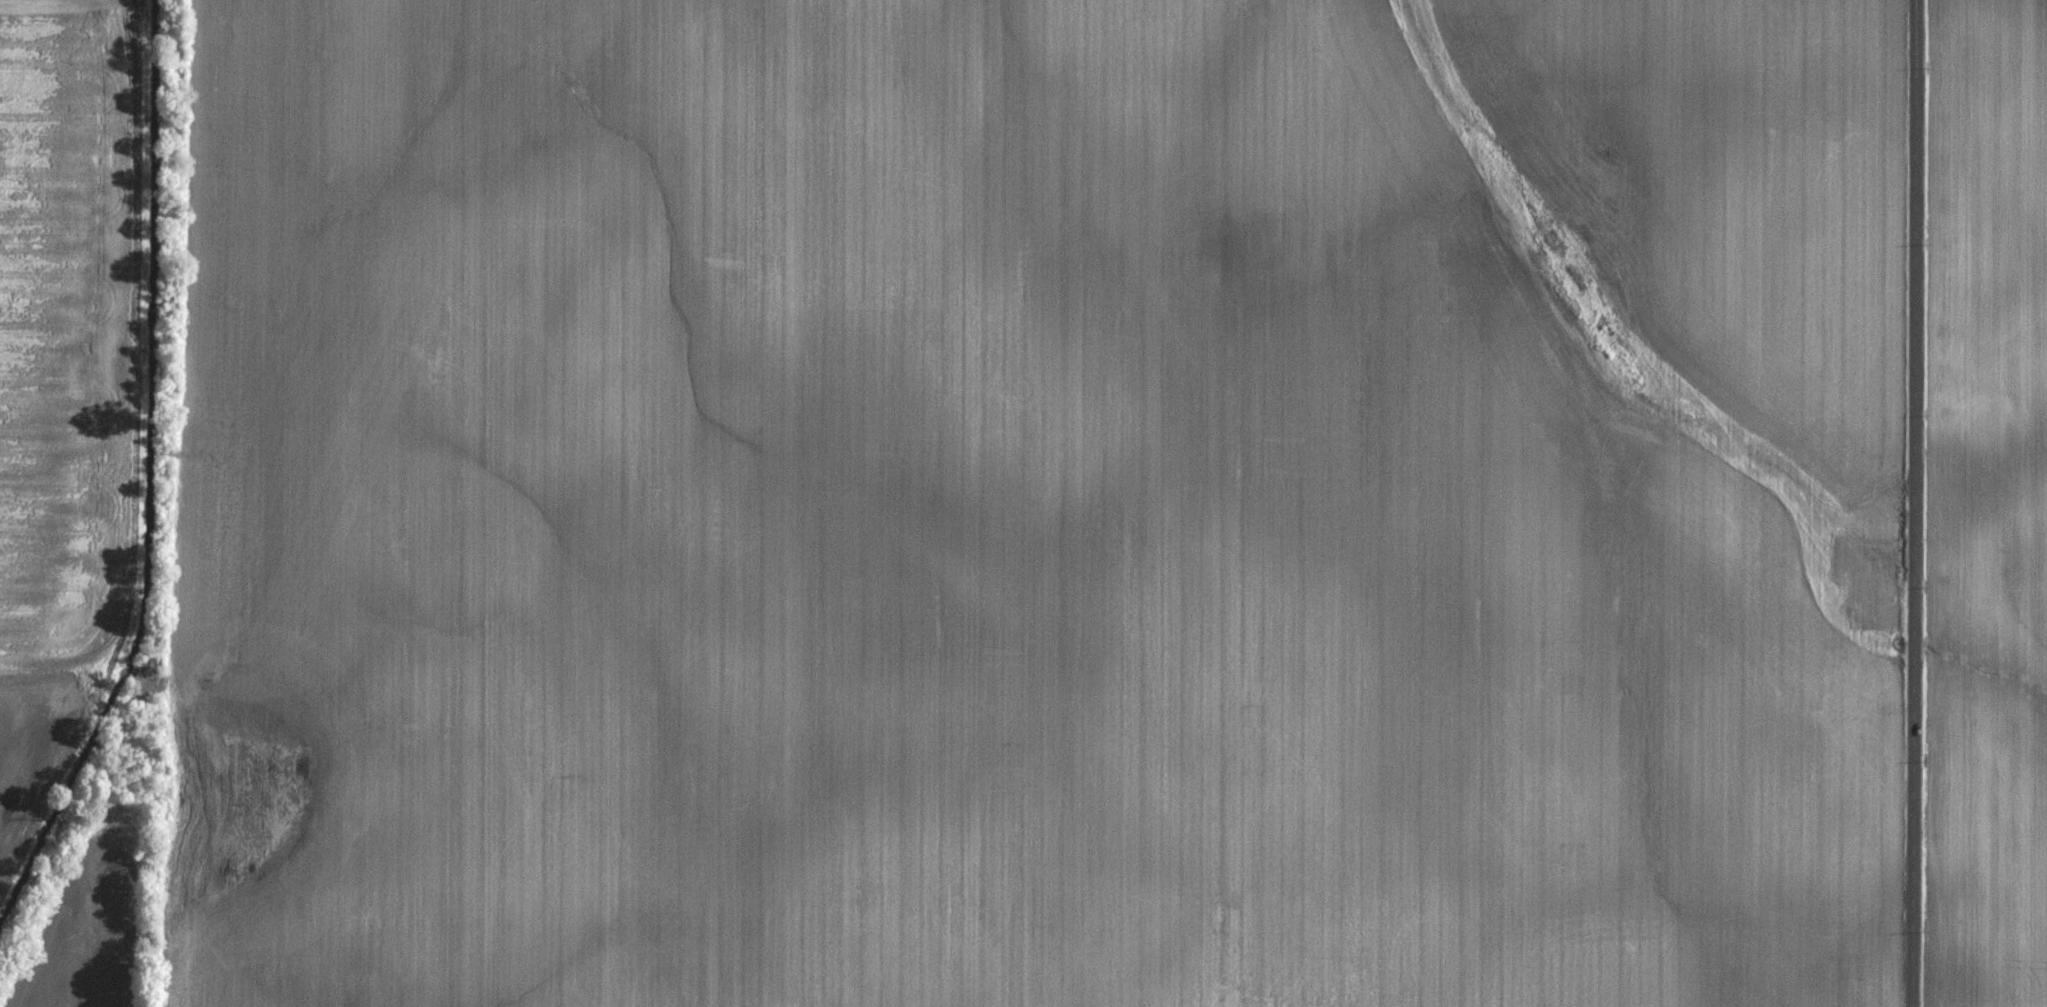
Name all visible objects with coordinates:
road: (1914, 503)
crop: (1988, 504)

